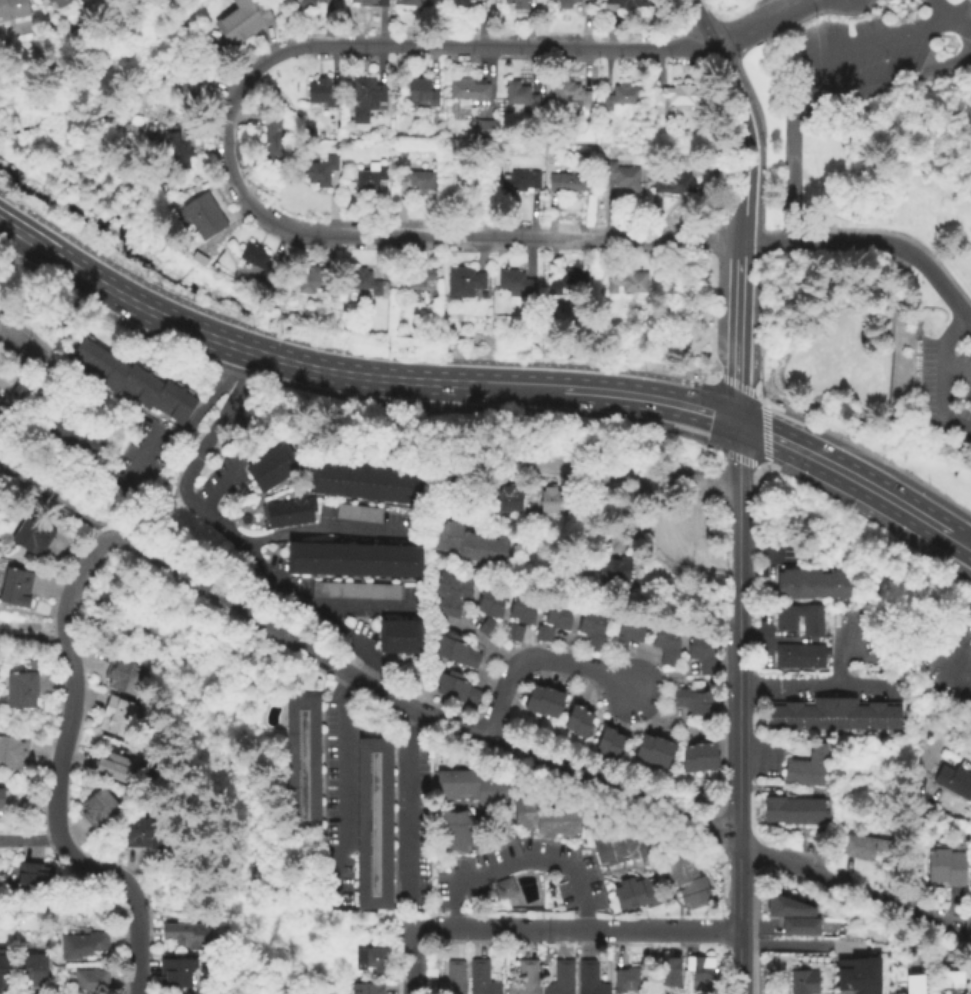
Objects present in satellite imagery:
building: (472, 0)
building: (45, 2)
building: (309, 2)
building: (371, 2)
building: (58, 3)
building: (415, 3)
building: (461, 3)
building: (625, 3)
building: (515, 4)
building: (566, 4)
building: (12, 8)
road: (764, 10)
building: (244, 20)
road: (950, 20)
road: (700, 22)
road: (761, 22)
road: (860, 44)
road: (746, 81)
building: (189, 84)
building: (469, 91)
building: (322, 93)
building: (420, 94)
building: (516, 94)
building: (567, 94)
building: (678, 96)
building: (620, 97)
building: (366, 99)
road: (824, 105)
building: (484, 129)
building: (272, 138)
road: (747, 138)
building: (175, 151)
road: (226, 153)
building: (402, 153)
building: (320, 172)
building: (623, 177)
building: (420, 180)
building: (465, 181)
building: (371, 182)
building: (520, 182)
building: (568, 183)
building: (674, 185)
building: (200, 217)
road: (872, 238)
road: (740, 247)
road: (47, 249)
building: (197, 255)
building: (257, 260)
building: (413, 279)
building: (312, 281)
building: (362, 282)
building: (569, 282)
building: (464, 283)
building: (628, 283)
building: (515, 284)
road: (52, 312)
road: (760, 314)
road: (175, 321)
road: (737, 338)
road: (21, 346)
road: (327, 348)
road: (219, 354)
road: (955, 369)
road: (338, 372)
road: (942, 378)
building: (130, 382)
road: (732, 382)
road: (478, 385)
road: (713, 389)
building: (22, 393)
road: (639, 396)
building: (0, 402)
traffic signals: (736, 422)
road: (189, 427)
building: (73, 440)
road: (694, 440)
road: (856, 446)
road: (765, 461)
building: (272, 469)
road: (592, 470)
road: (850, 476)
road: (226, 479)
building: (365, 484)
building: (694, 495)
road: (60, 501)
building: (508, 501)
building: (552, 502)
building: (693, 511)
building: (288, 513)
building: (357, 513)
road: (327, 529)
building: (692, 529)
road: (230, 533)
building: (32, 535)
road: (966, 544)
building: (470, 545)
road: (736, 550)
road: (772, 551)
building: (353, 560)
building: (575, 568)
building: (613, 568)
building: (527, 572)
road: (194, 578)
building: (794, 584)
building: (781, 585)
building: (807, 585)
building: (818, 585)
building: (831, 585)
building: (843, 585)
building: (444, 586)
building: (15, 587)
building: (462, 590)
building: (355, 591)
building: (484, 600)
building: (496, 604)
building: (515, 606)
road: (370, 608)
building: (448, 608)
building: (527, 610)
building: (552, 613)
building: (564, 617)
building: (785, 618)
building: (585, 619)
building: (809, 620)
building: (487, 628)
building: (636, 631)
building: (512, 633)
building: (595, 633)
building: (543, 634)
building: (659, 635)
road: (32, 636)
building: (619, 636)
building: (399, 638)
building: (824, 641)
road: (480, 645)
building: (693, 645)
road: (958, 646)
building: (456, 647)
building: (670, 649)
road: (838, 652)
road: (534, 657)
building: (706, 657)
building: (786, 657)
building: (810, 657)
building: (454, 659)
building: (123, 674)
building: (457, 684)
road: (815, 689)
road: (373, 690)
building: (20, 692)
building: (456, 698)
building: (690, 699)
building: (533, 700)
building: (545, 702)
building: (556, 706)
building: (703, 713)
building: (833, 715)
building: (573, 719)
building: (120, 721)
building: (583, 726)
building: (604, 741)
building: (613, 749)
building: (643, 750)
building: (654, 751)
building: (12, 754)
building: (665, 756)
building: (700, 758)
building: (710, 758)
building: (688, 761)
road: (736, 762)
road: (60, 765)
building: (303, 768)
building: (807, 768)
building: (115, 769)
building: (954, 782)
road: (338, 787)
building: (467, 788)
road: (610, 793)
building: (1, 805)
road: (411, 808)
building: (101, 809)
building: (773, 810)
building: (794, 812)
building: (816, 812)
building: (546, 820)
building: (374, 825)
building: (456, 832)
building: (144, 834)
road: (29, 839)
building: (865, 849)
building: (622, 850)
road: (917, 850)
road: (521, 862)
building: (946, 868)
building: (970, 879)
building: (34, 882)
building: (687, 883)
building: (504, 889)
road: (853, 890)
building: (637, 895)
building: (787, 908)
road: (737, 919)
building: (800, 927)
road: (576, 928)
building: (188, 936)
road: (783, 943)
building: (82, 946)
building: (371, 961)
road: (414, 961)
building: (2, 967)
building: (32, 969)
building: (667, 971)
building: (857, 974)
building: (177, 975)
building: (701, 975)
building: (627, 978)
building: (451, 979)
building: (480, 979)
building: (524, 979)
building: (560, 979)
building: (589, 979)
building: (949, 980)
building: (91, 982)
building: (804, 982)
road: (134, 984)
building: (913, 984)
building: (366, 989)
building: (182, 992)

